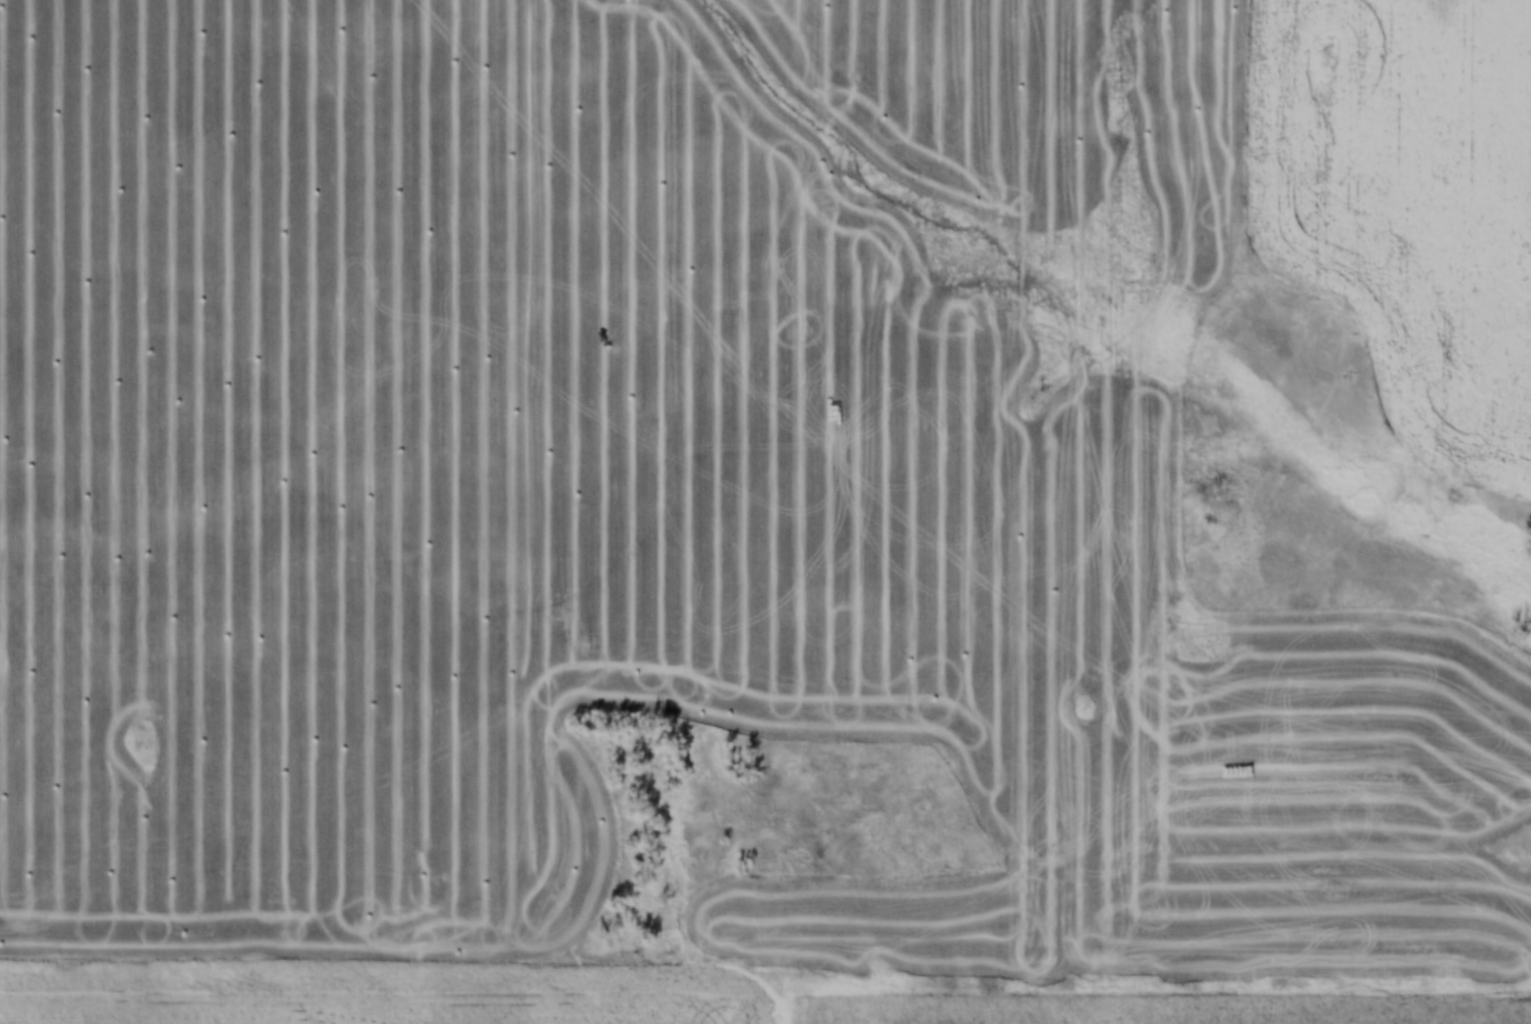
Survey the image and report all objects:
building: (825, 765)
road: (603, 970)

